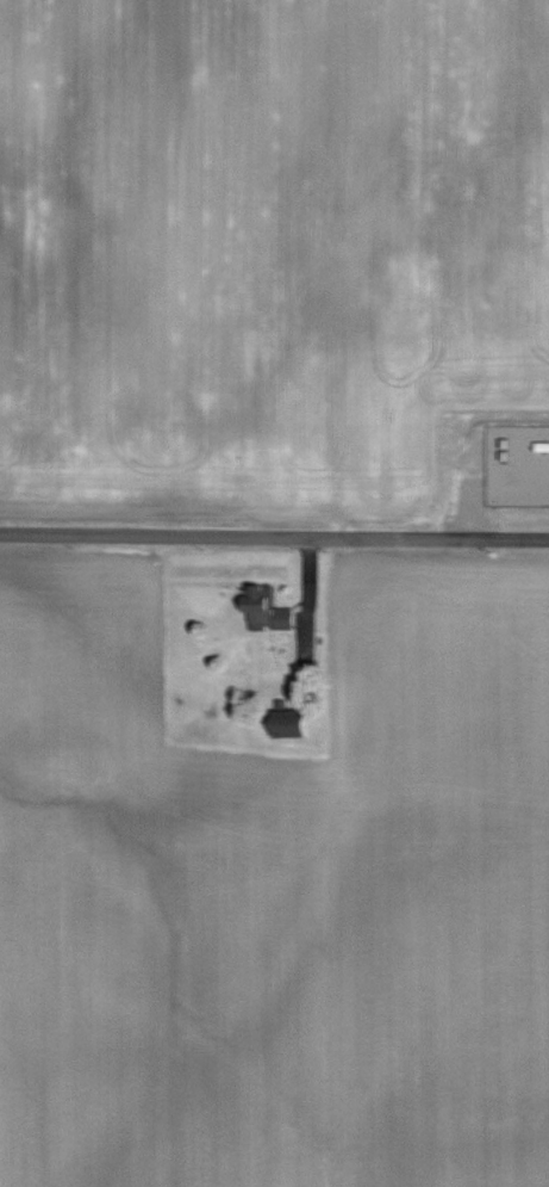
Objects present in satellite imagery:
road: (274, 536)
building: (267, 610)
building: (289, 727)

